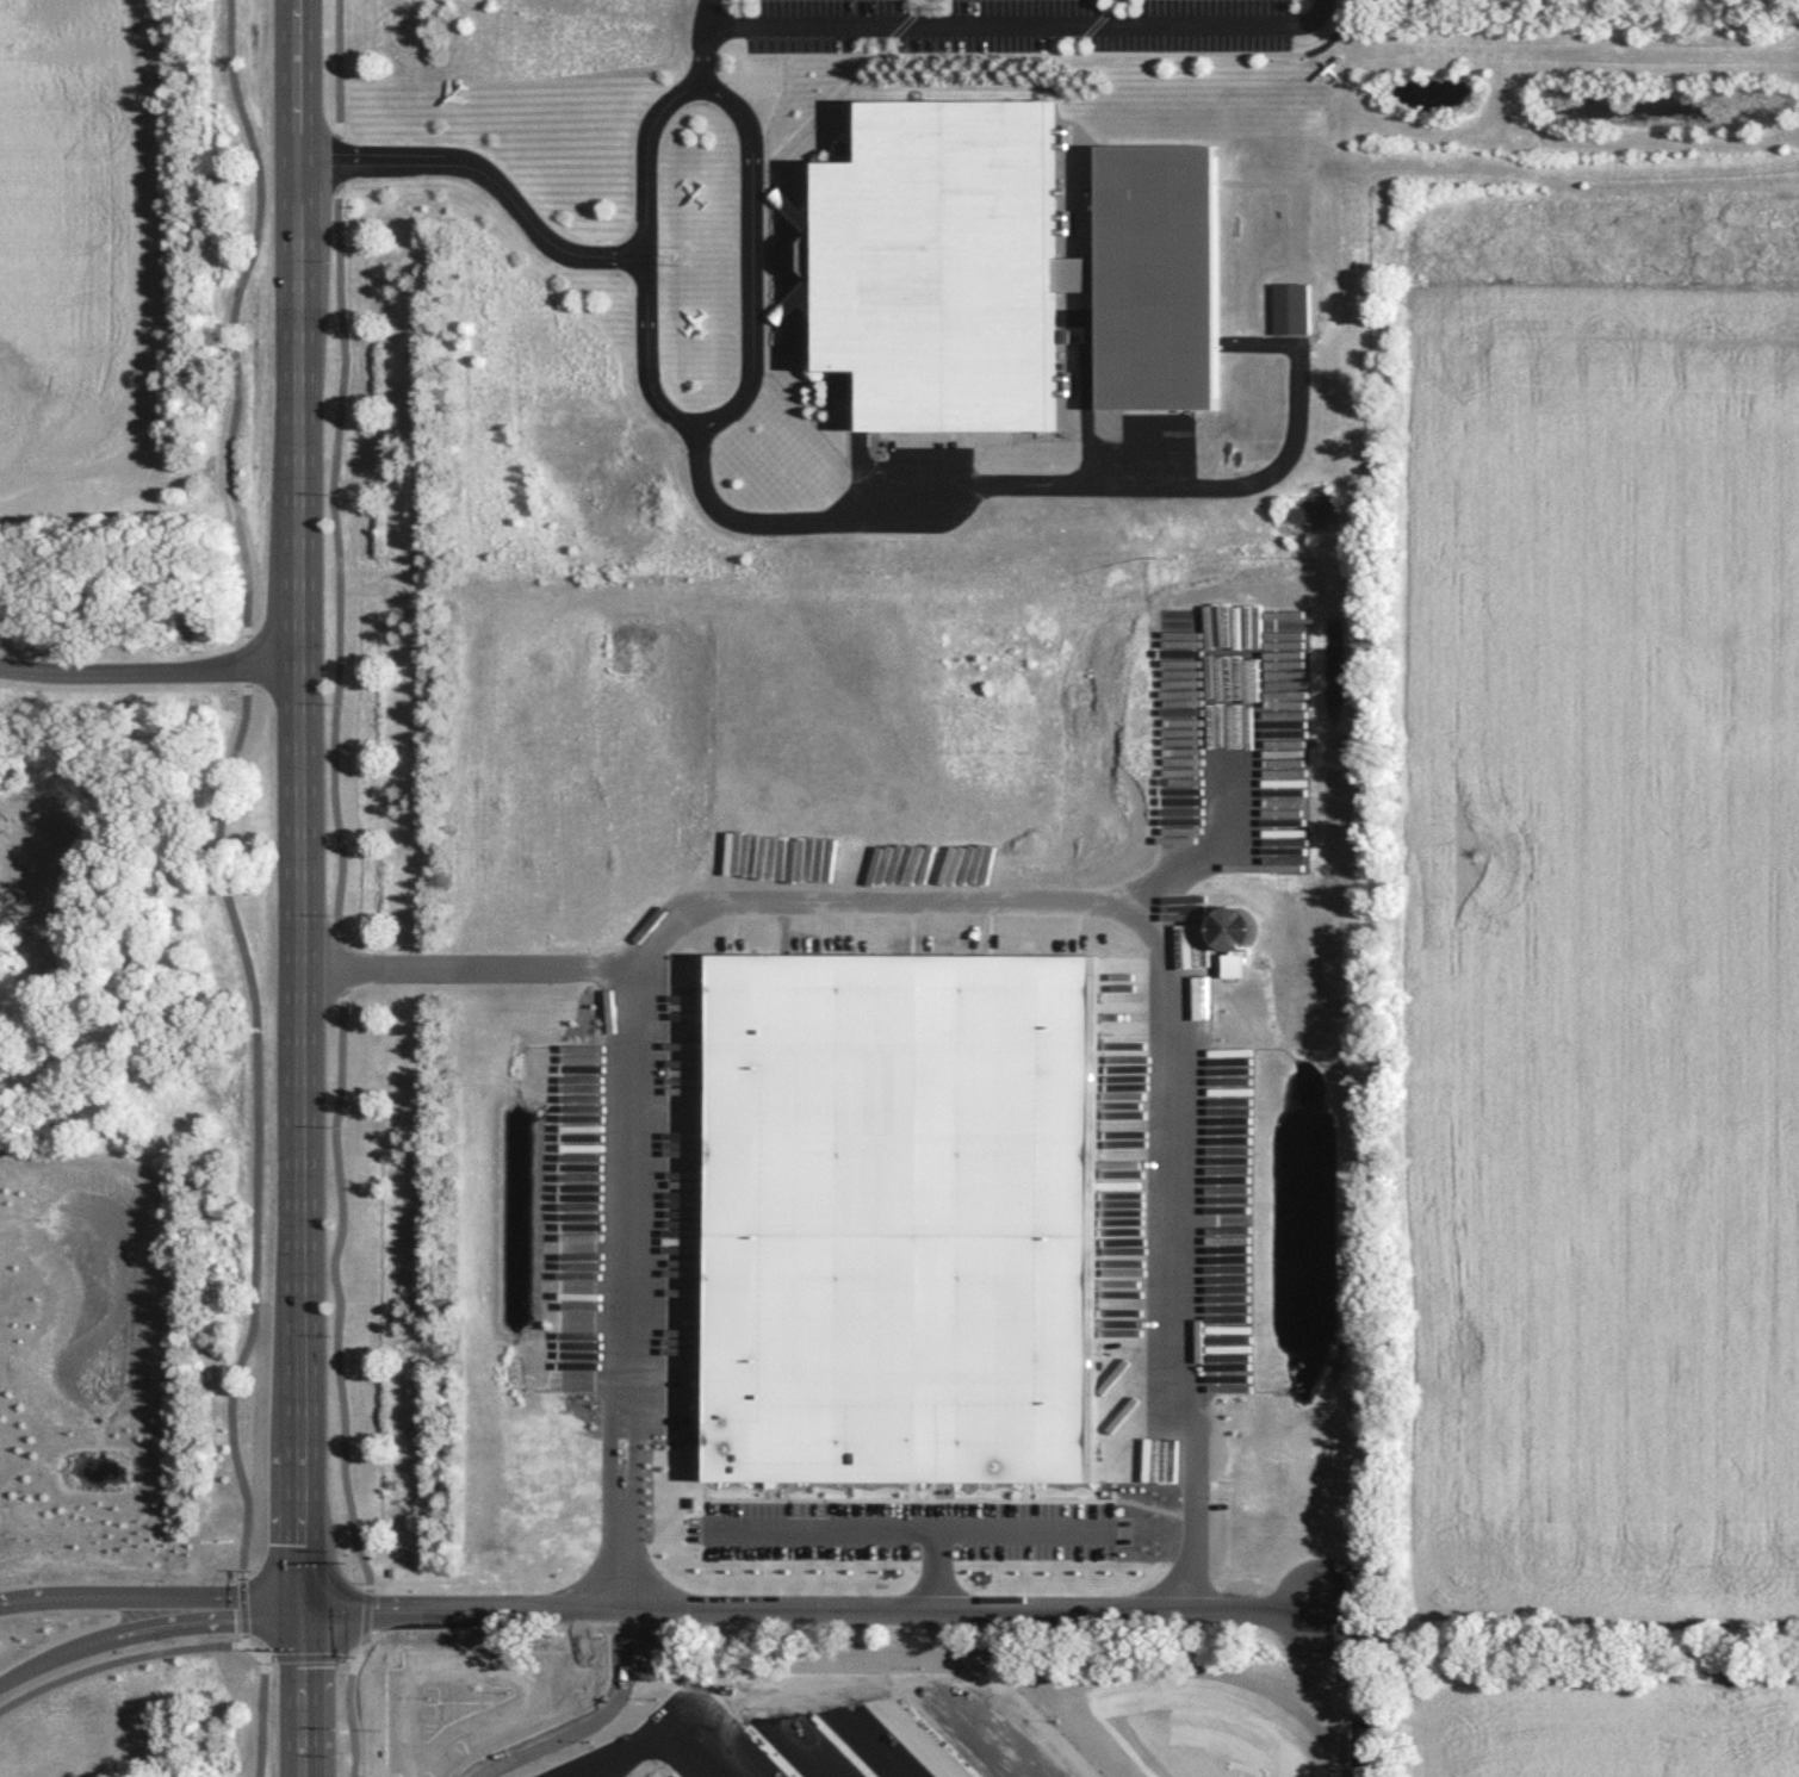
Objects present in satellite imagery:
road: (917, 6)
road: (1111, 6)
road: (1323, 11)
road: (899, 24)
road: (1094, 24)
road: (1012, 25)
parking lot: (1010, 30)
road: (1333, 32)
road: (1075, 44)
road: (1023, 52)
road: (826, 101)
road: (852, 107)
road: (767, 188)
crop: (77, 241)
flagpole: (686, 246)
flagpole: (670, 254)
building: (812, 254)
road: (751, 259)
road: (593, 260)
flagpole: (686, 263)
building: (1009, 272)
road: (763, 297)
road: (768, 321)
road: (645, 360)
road: (1093, 487)
road: (147, 664)
road: (1234, 790)
road: (228, 796)
road: (293, 888)
road: (336, 893)
building: (1232, 927)
crop: (1605, 957)
building: (1233, 963)
building: (904, 1217)
road: (1204, 1421)
road: (863, 1526)
road: (1021, 1527)
road: (148, 1590)
road: (465, 1605)
road: (1273, 1608)
road: (143, 1618)
road: (310, 1658)
road: (118, 1660)
road: (263, 1682)
crop: (926, 1723)

